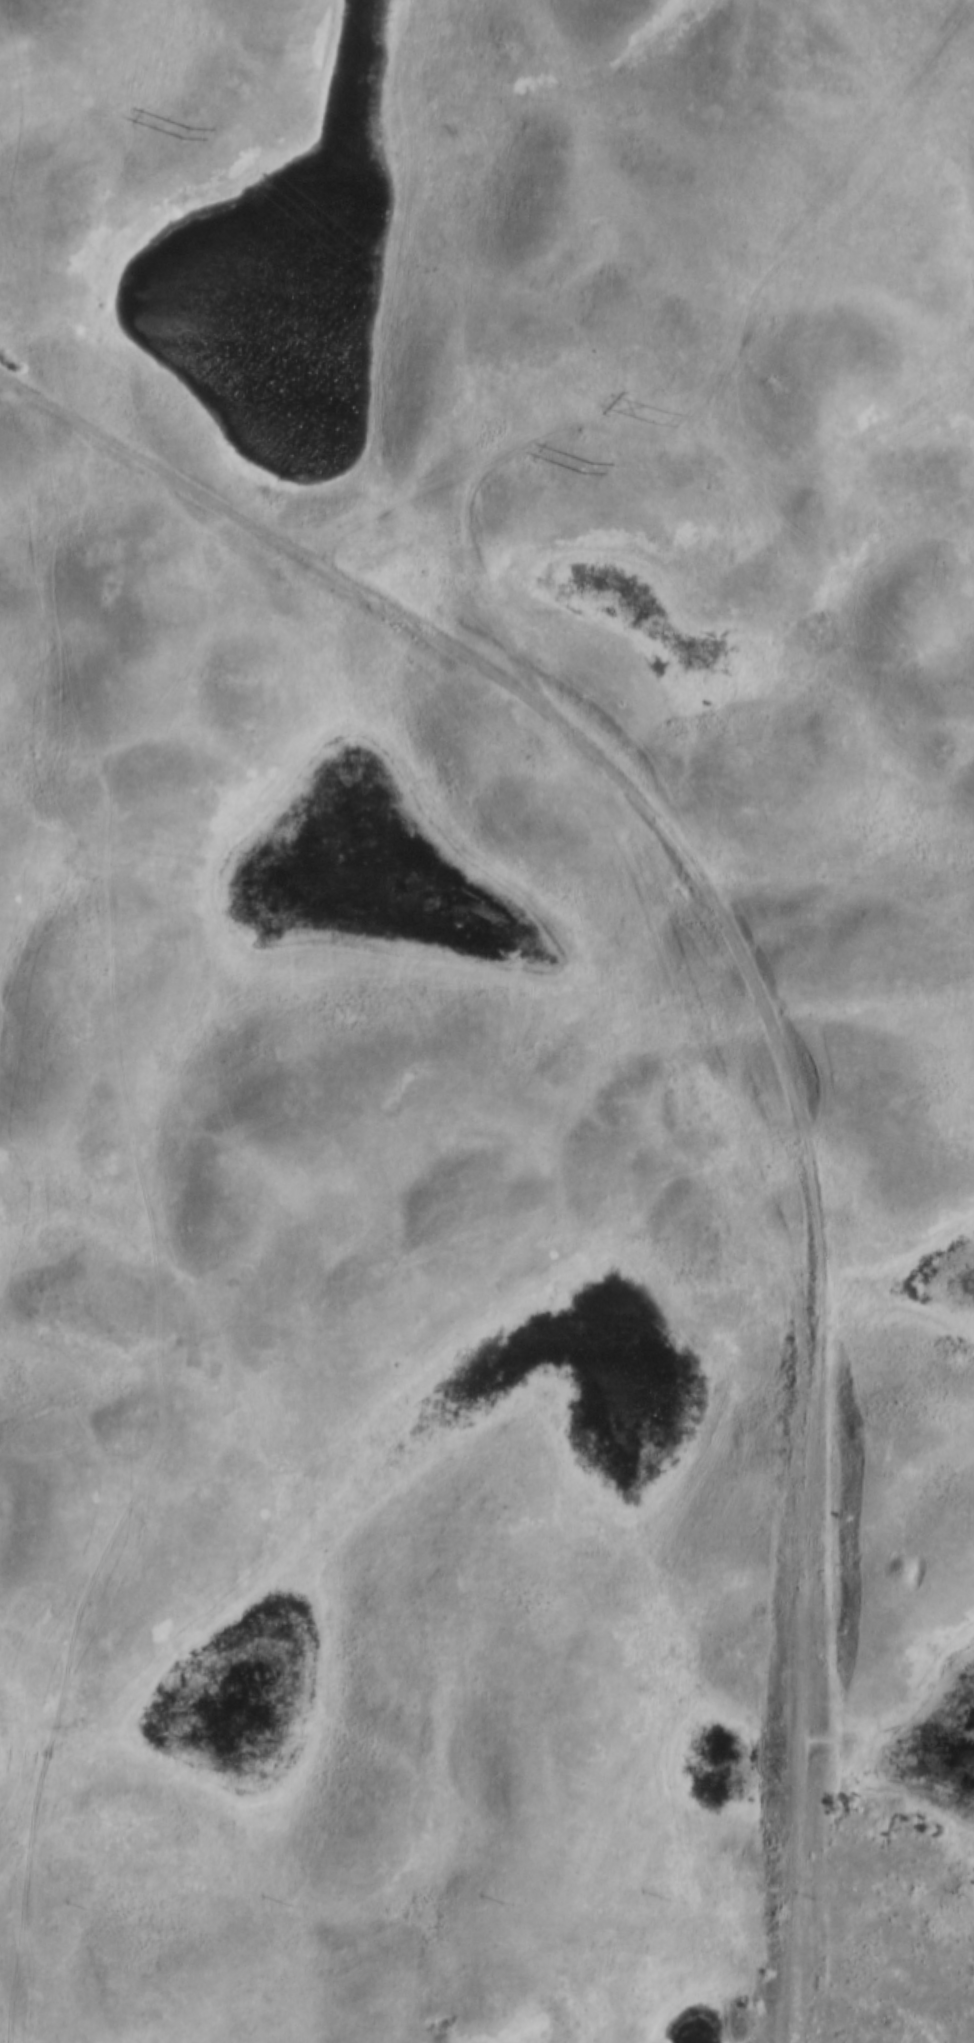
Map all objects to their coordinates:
power tower: (655, 416)
road: (763, 1022)

